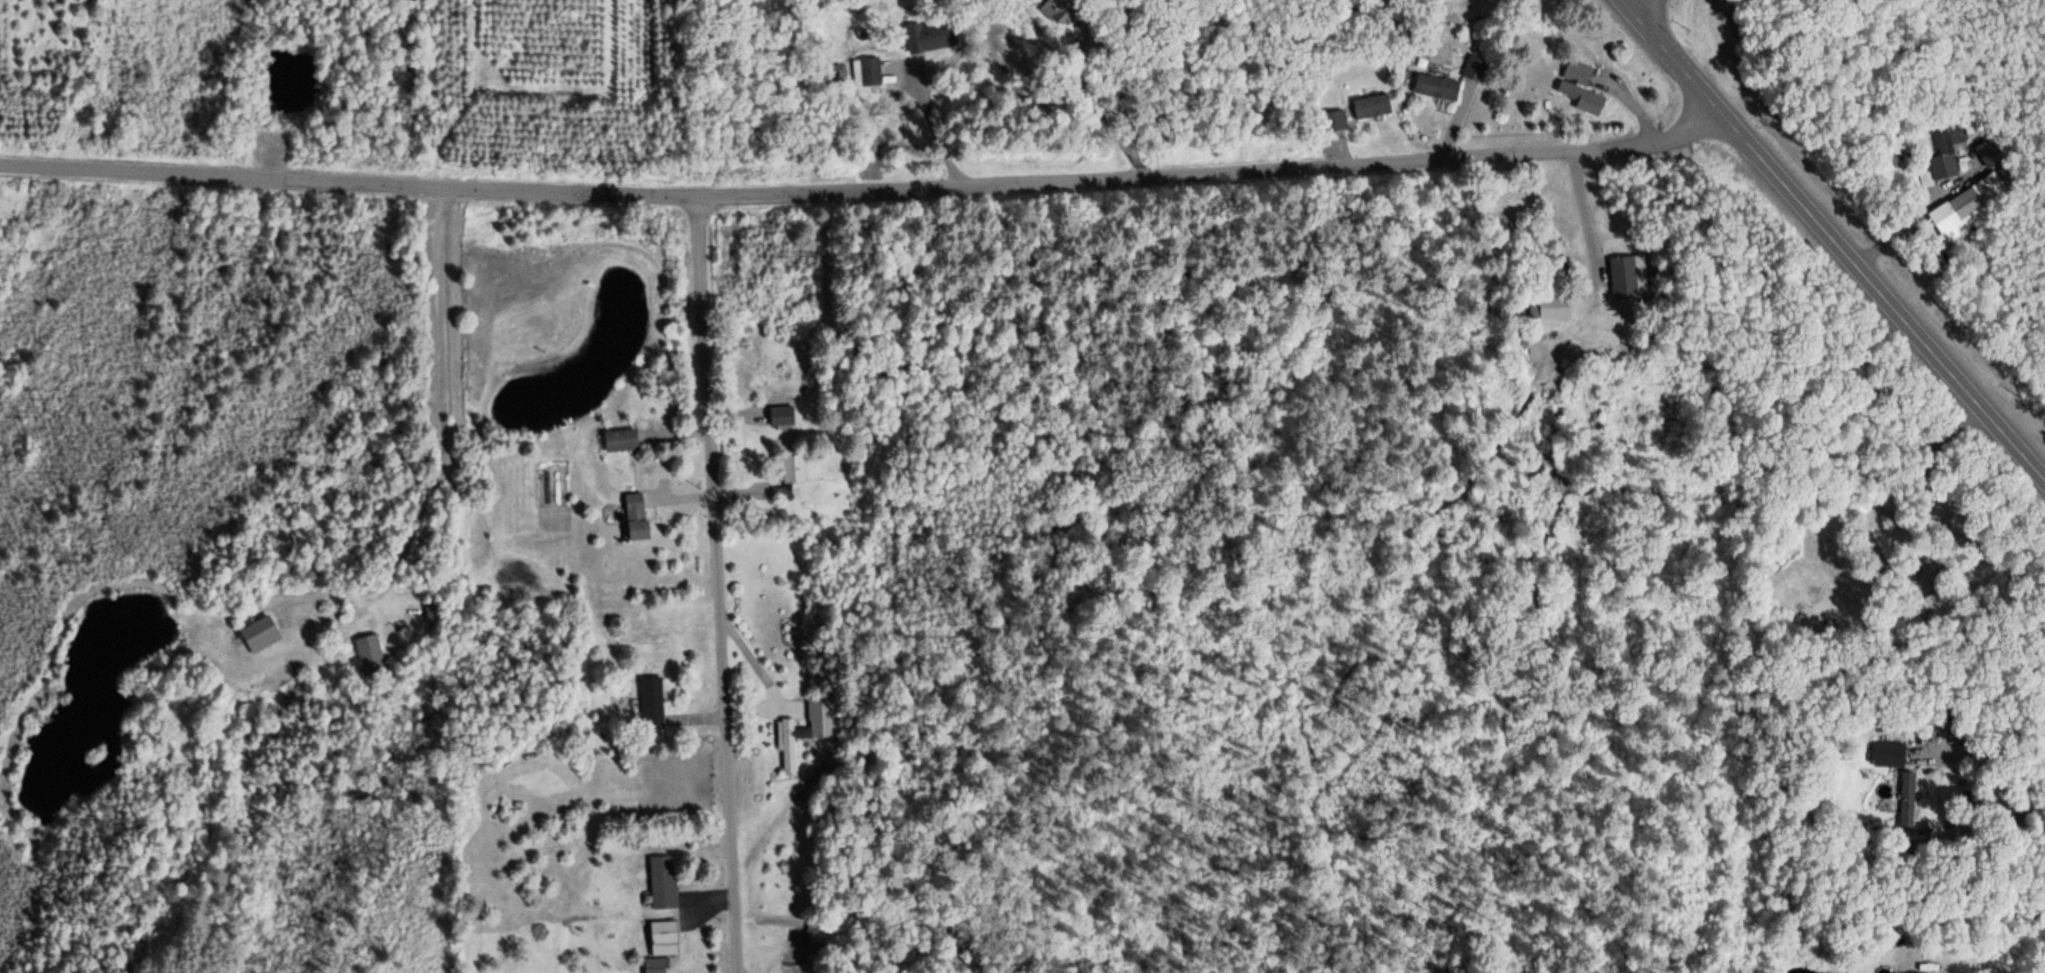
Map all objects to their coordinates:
road: (1641, 7)
road: (1454, 130)
road: (940, 138)
road: (863, 191)
road: (1582, 209)
road: (1832, 242)
road: (445, 434)
road: (717, 585)

